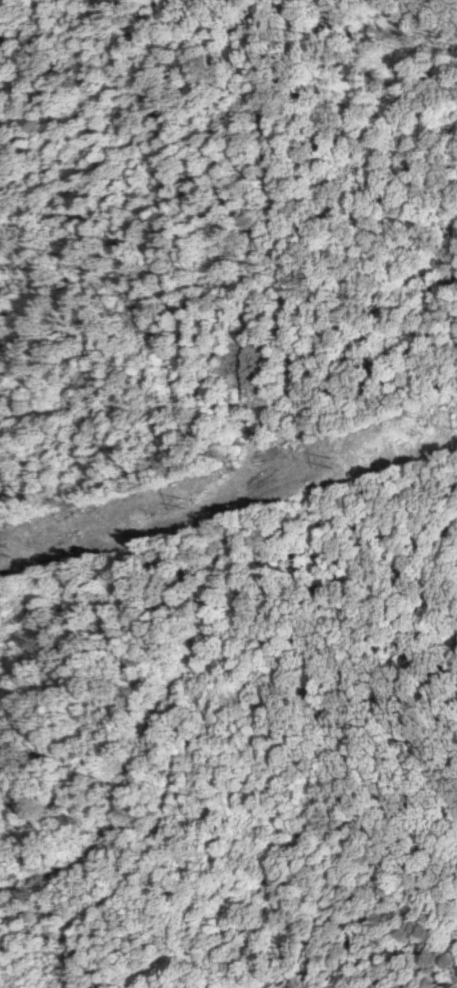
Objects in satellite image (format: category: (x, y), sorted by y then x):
road: (239, 453)

